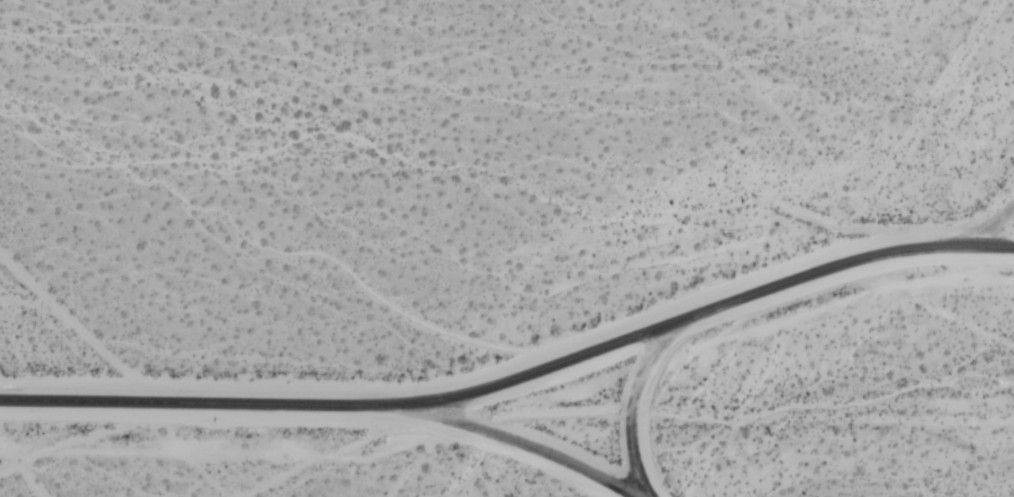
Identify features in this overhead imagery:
road: (984, 244)
road: (487, 384)
road: (629, 407)
road: (532, 444)

